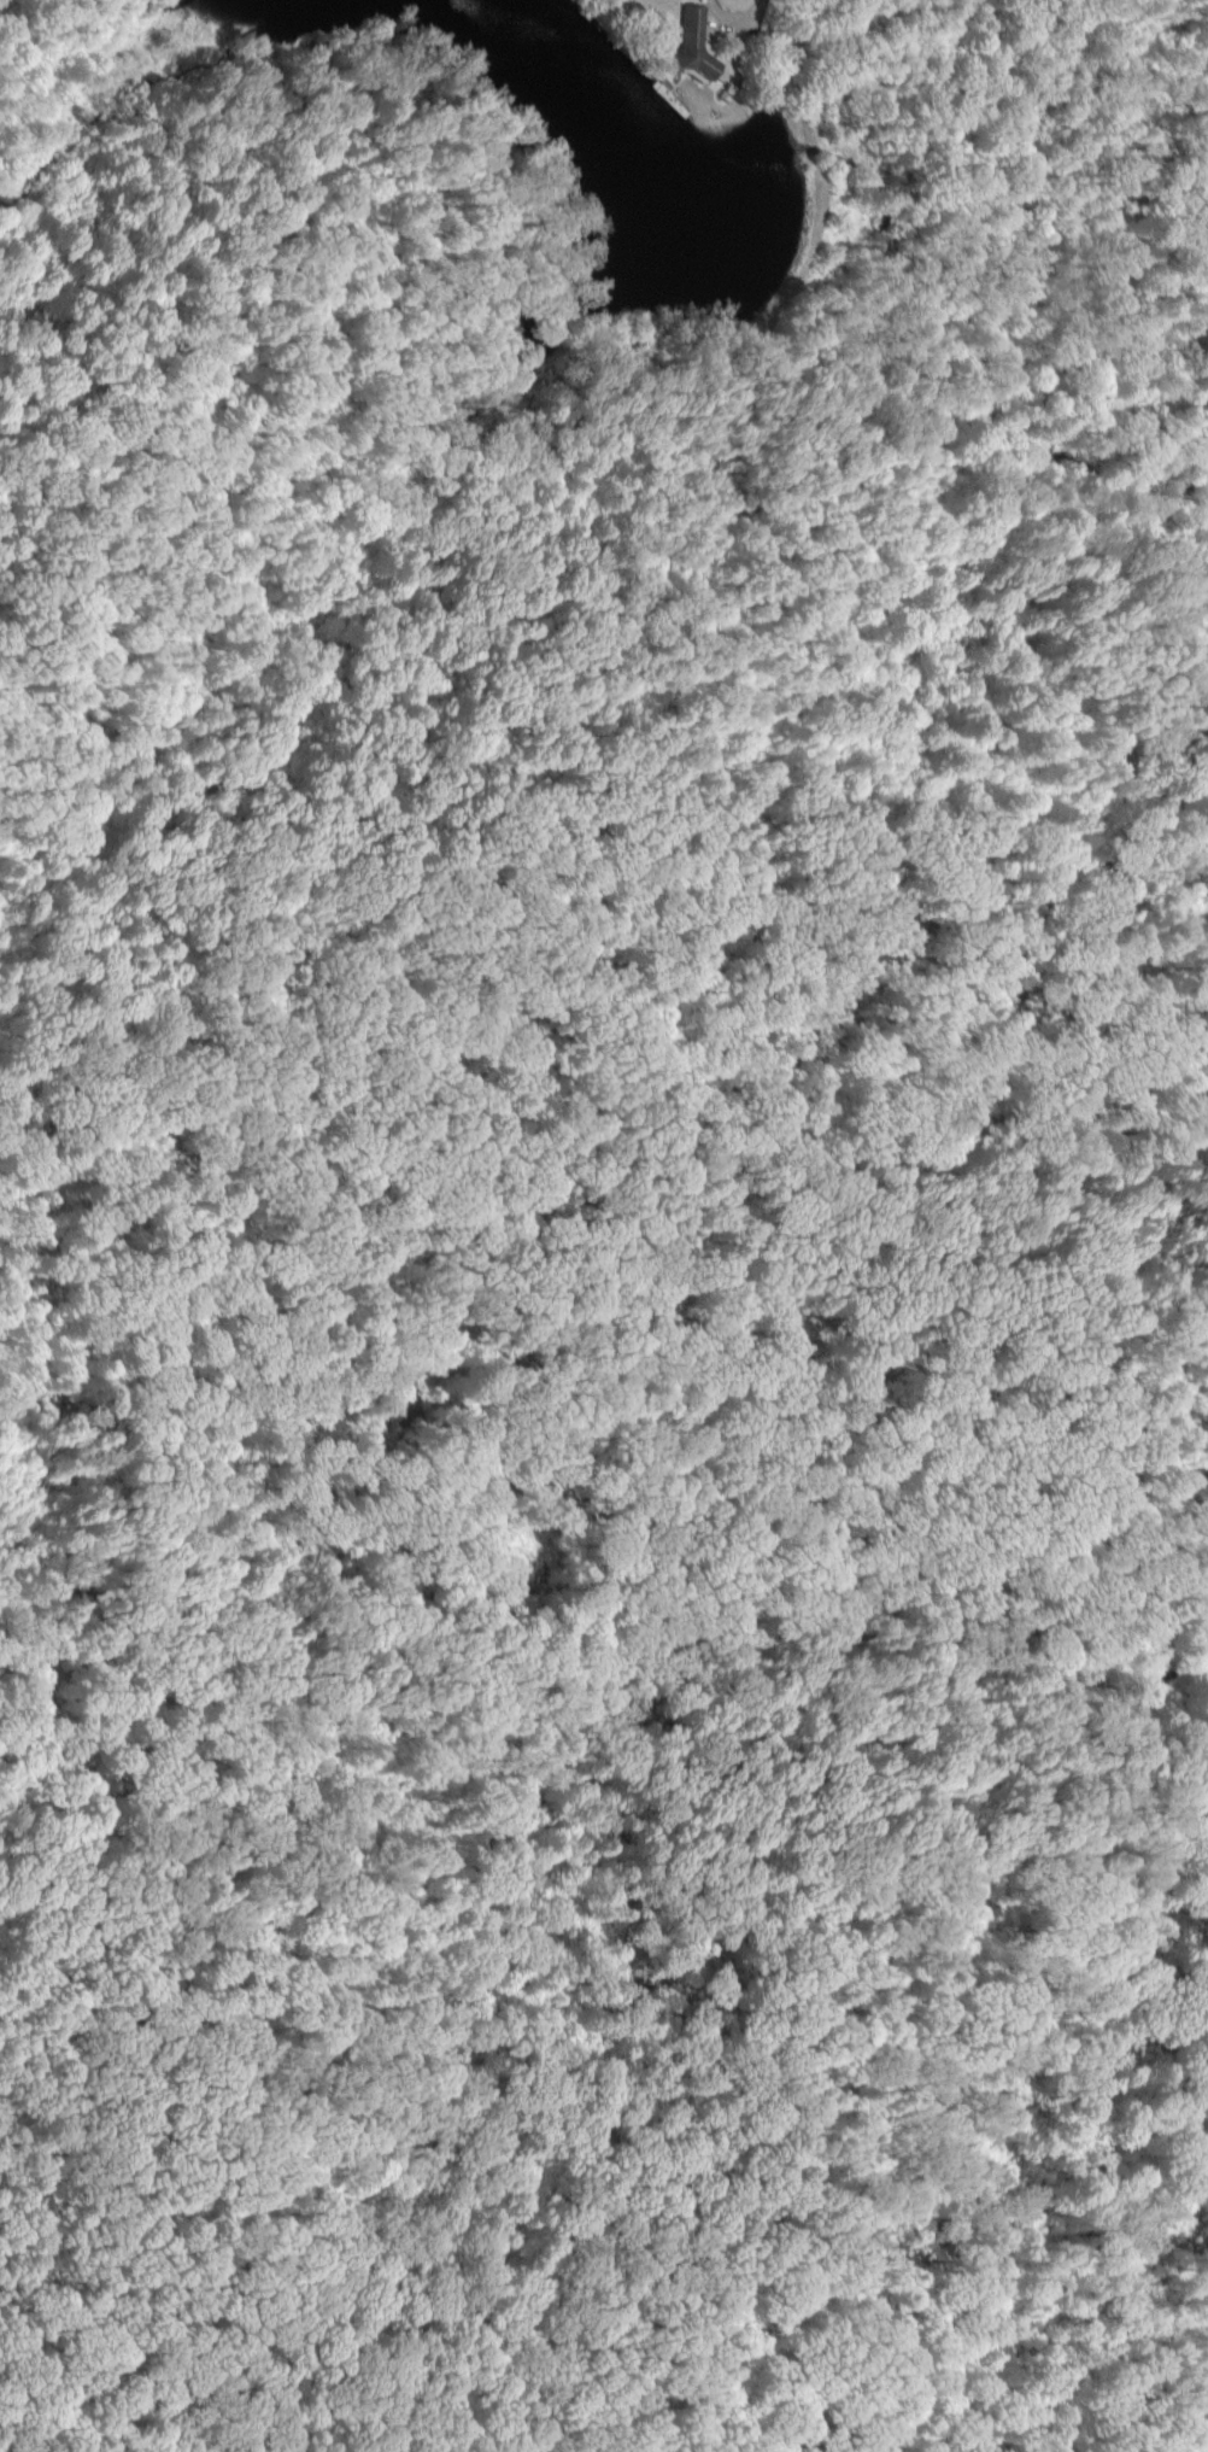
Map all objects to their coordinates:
building: (698, 60)

